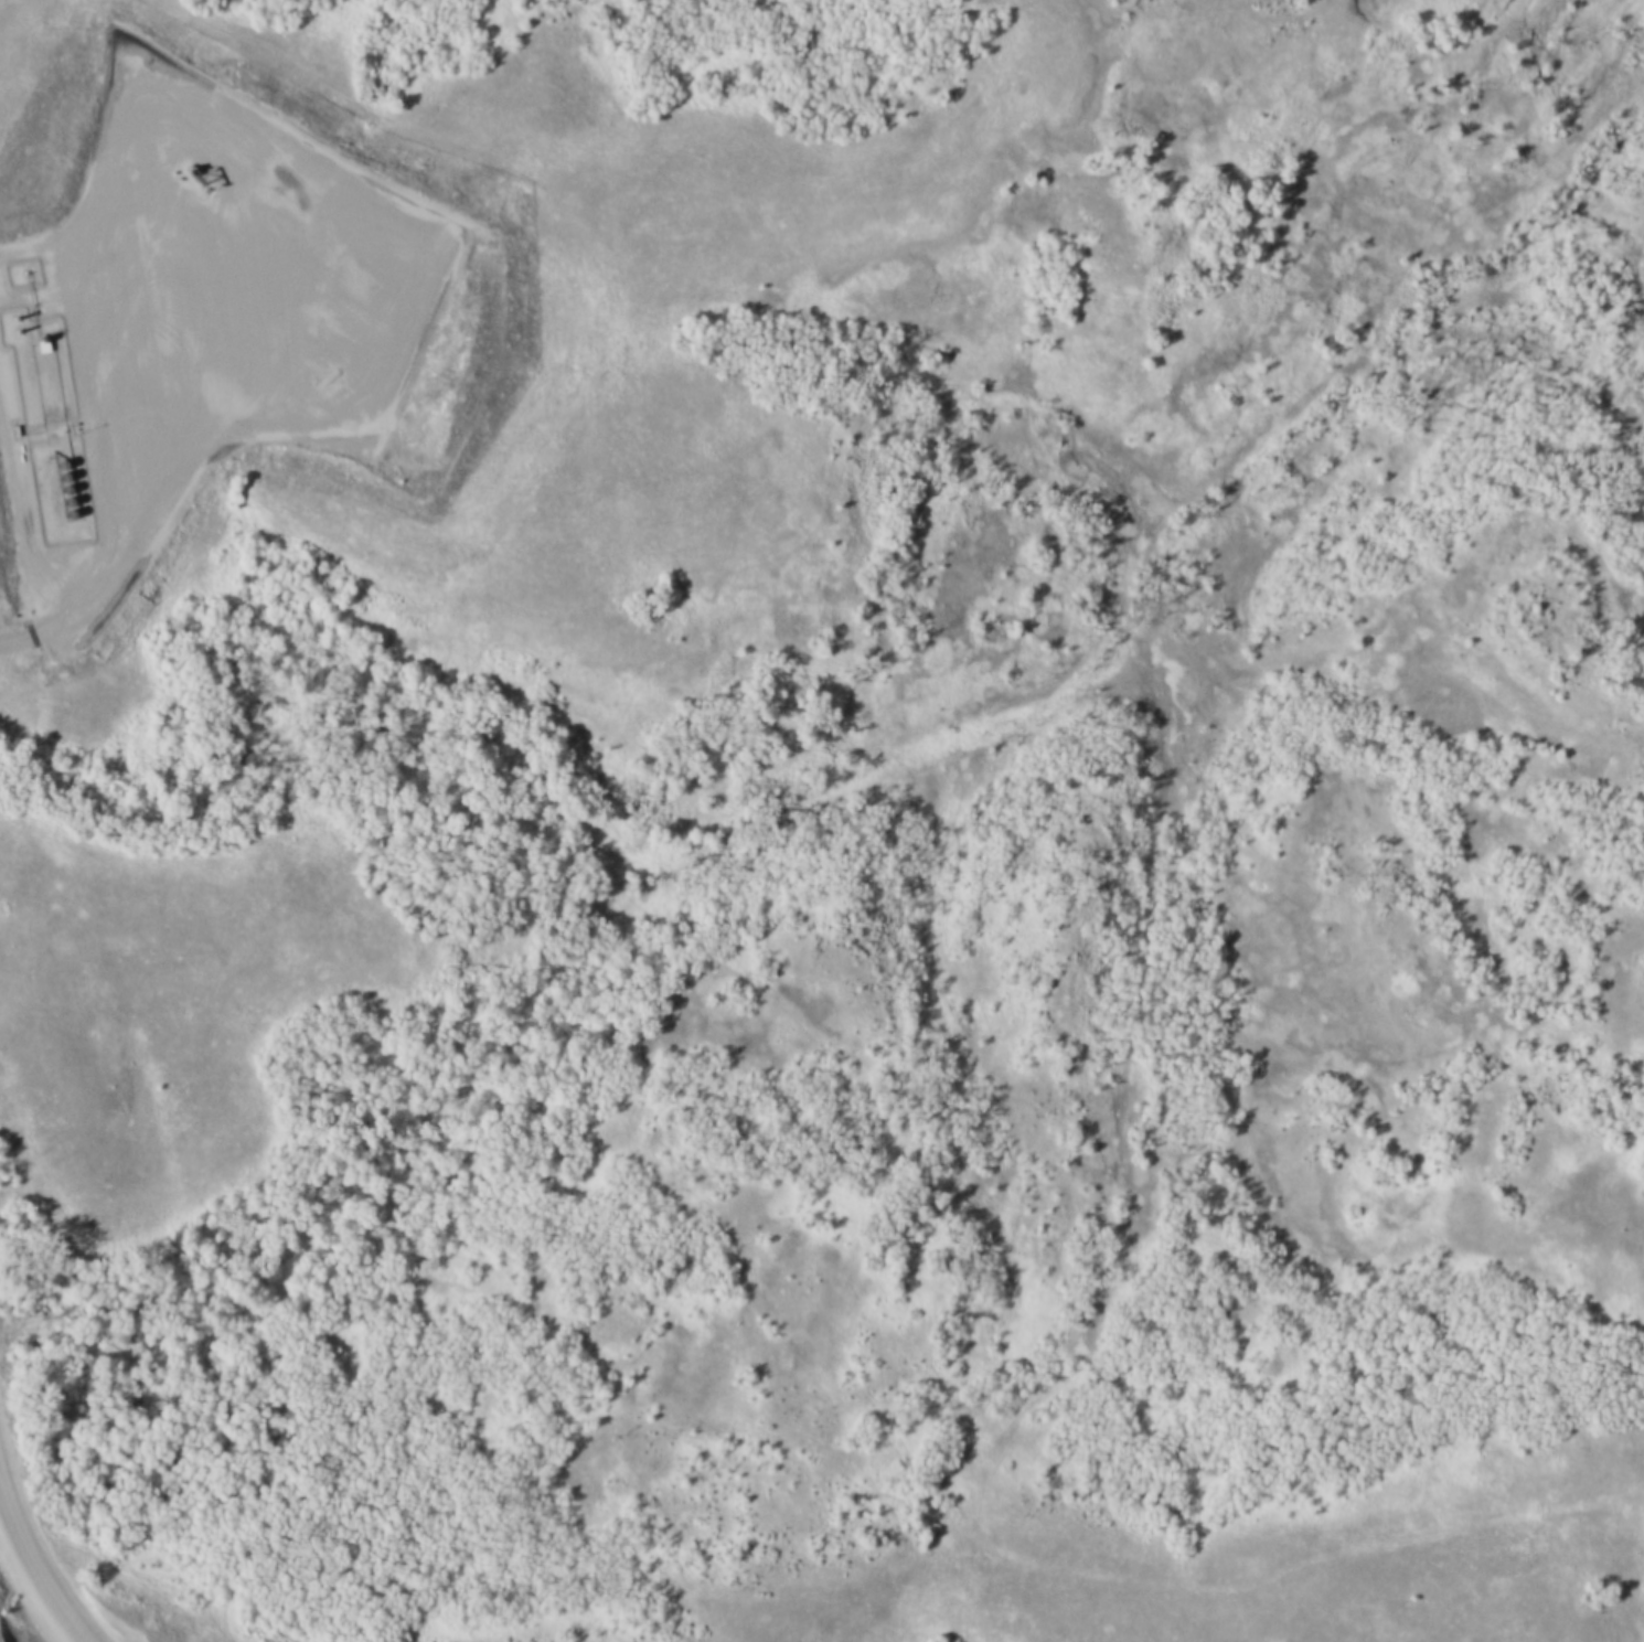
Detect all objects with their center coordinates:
petroleum well: (191, 178)
building: (54, 470)
storage tank: (54, 470)
building: (56, 483)
storage tank: (56, 483)
building: (57, 495)
storage tank: (57, 495)
building: (61, 508)
storage tank: (61, 508)
building: (62, 521)
storage tank: (62, 521)
road: (32, 1565)

